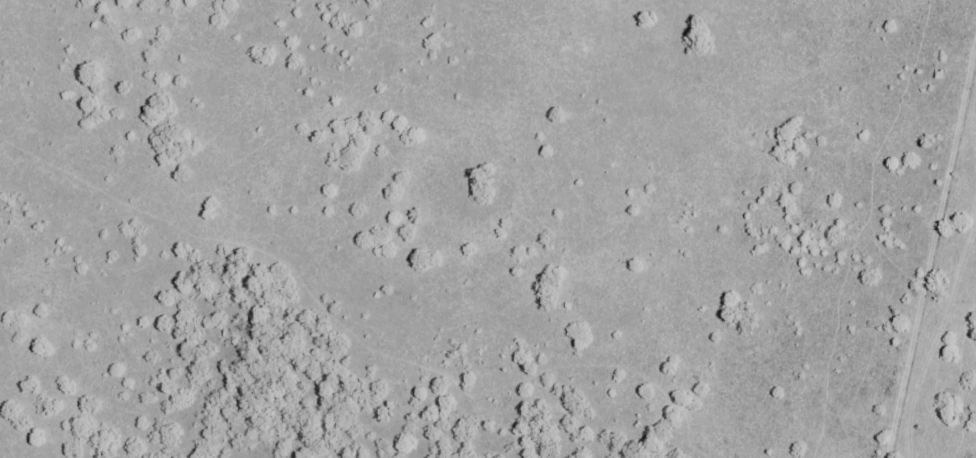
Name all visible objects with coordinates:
road: (371, 260)
road: (937, 279)

